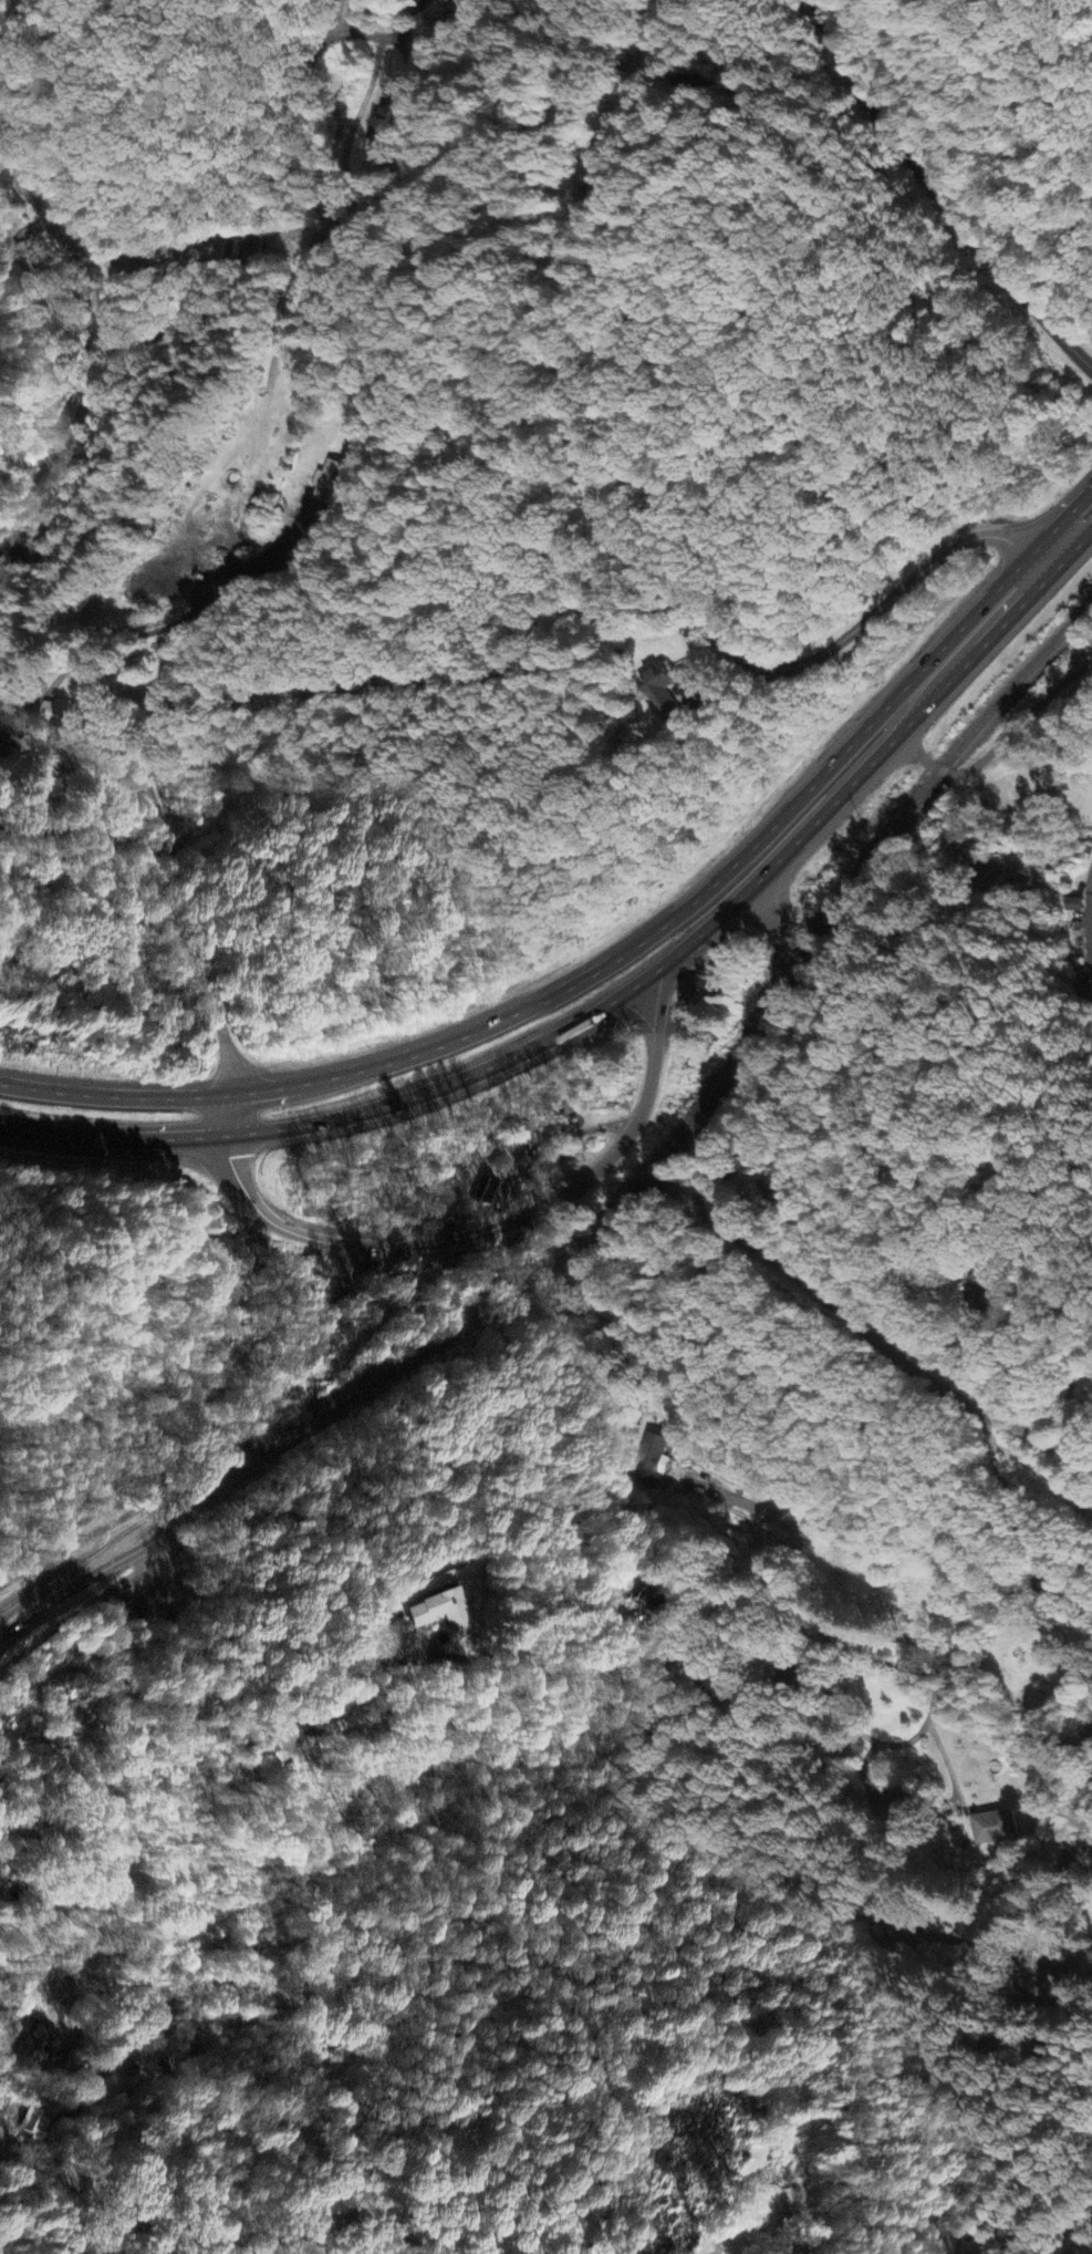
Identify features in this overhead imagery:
building: (462, 10)
road: (825, 37)
road: (6, 59)
road: (21, 124)
building: (388, 131)
road: (11, 161)
road: (936, 200)
road: (241, 203)
road: (1067, 343)
road: (96, 358)
road: (711, 395)
building: (329, 489)
road: (612, 510)
road: (1062, 519)
road: (1073, 549)
road: (1043, 559)
building: (663, 697)
road: (1028, 713)
road: (928, 763)
road: (155, 795)
road: (867, 940)
road: (591, 974)
road: (602, 1005)
road: (1041, 1042)
road: (580, 1180)
railway: (625, 1192)
building: (491, 1195)
road: (258, 1207)
road: (742, 1241)
road: (499, 1457)
road: (199, 1462)
road: (791, 1500)
road: (1013, 1502)
road: (93, 1532)
building: (441, 1612)
road: (1085, 1720)
building: (995, 1828)
road: (956, 2035)
building: (37, 2046)
building: (141, 2056)
road: (58, 2102)
building: (37, 2127)
building: (768, 2208)
road: (403, 2234)

